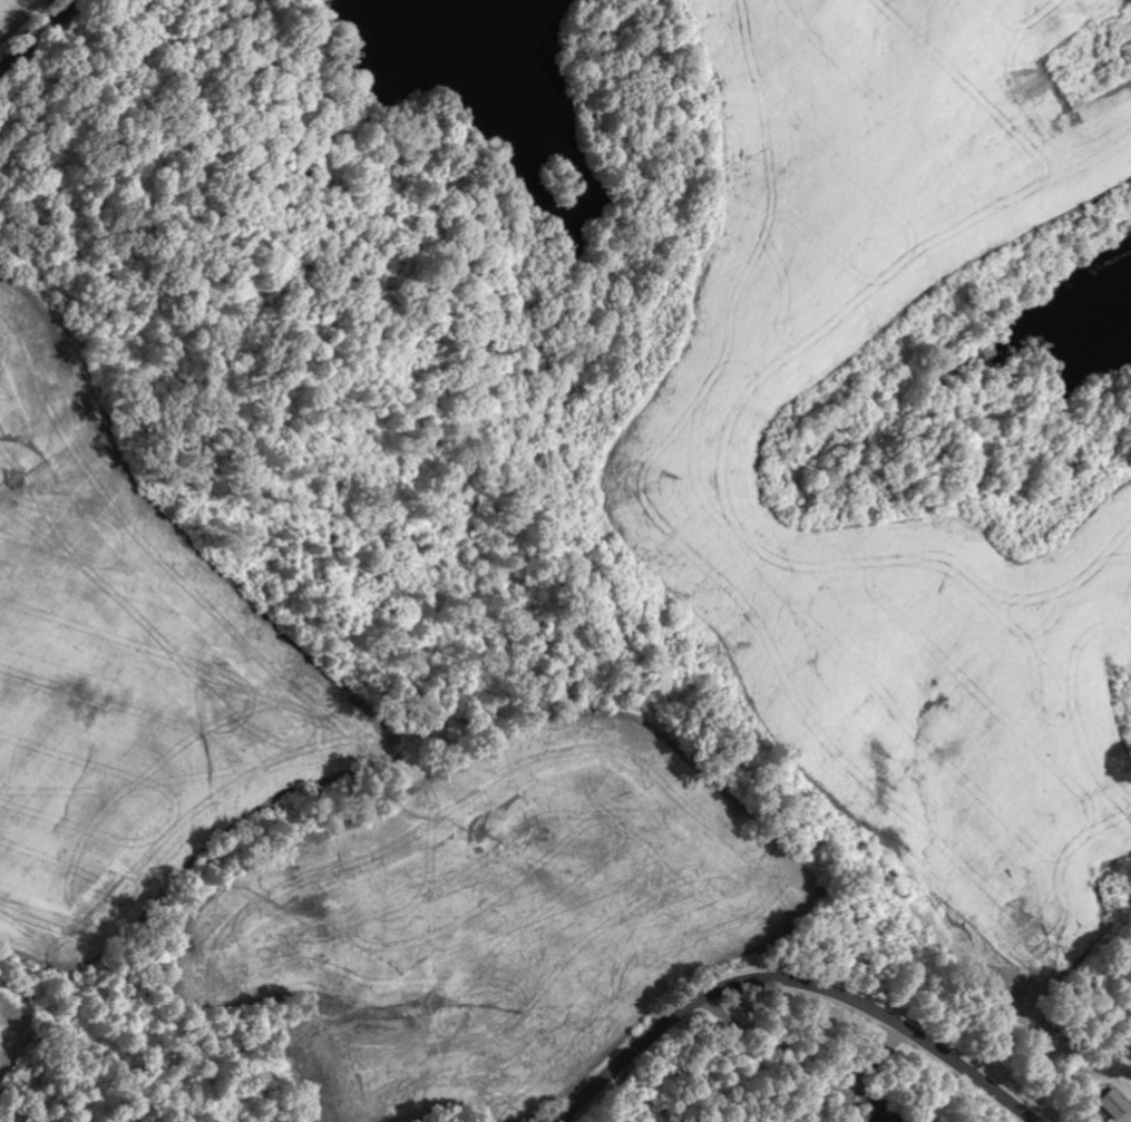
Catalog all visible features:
road: (41, 38)
road: (791, 984)
building: (1118, 1104)
building: (888, 1118)

